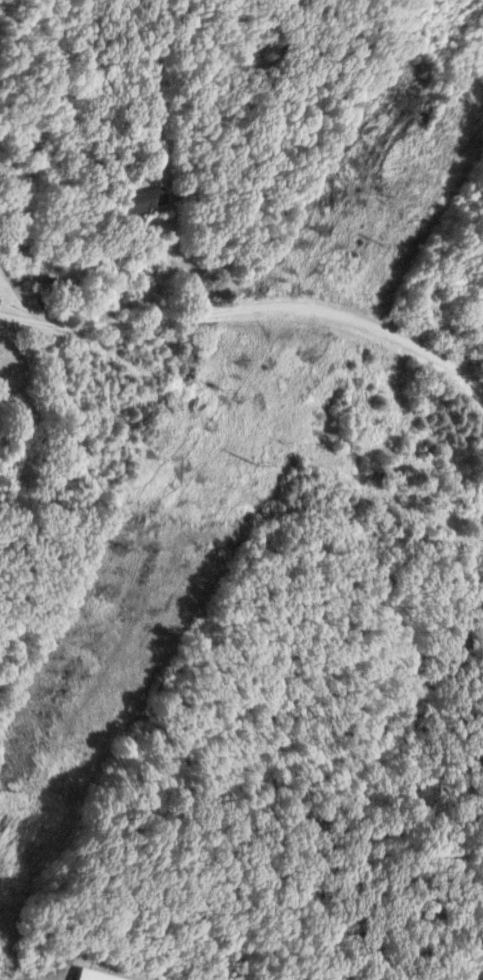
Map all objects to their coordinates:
building: (143, 199)
power tower: (317, 227)
power tower: (379, 247)
road: (188, 257)
road: (21, 292)
road: (250, 309)
power tower: (217, 391)
power tower: (248, 462)
power tower: (122, 546)
building: (86, 976)

